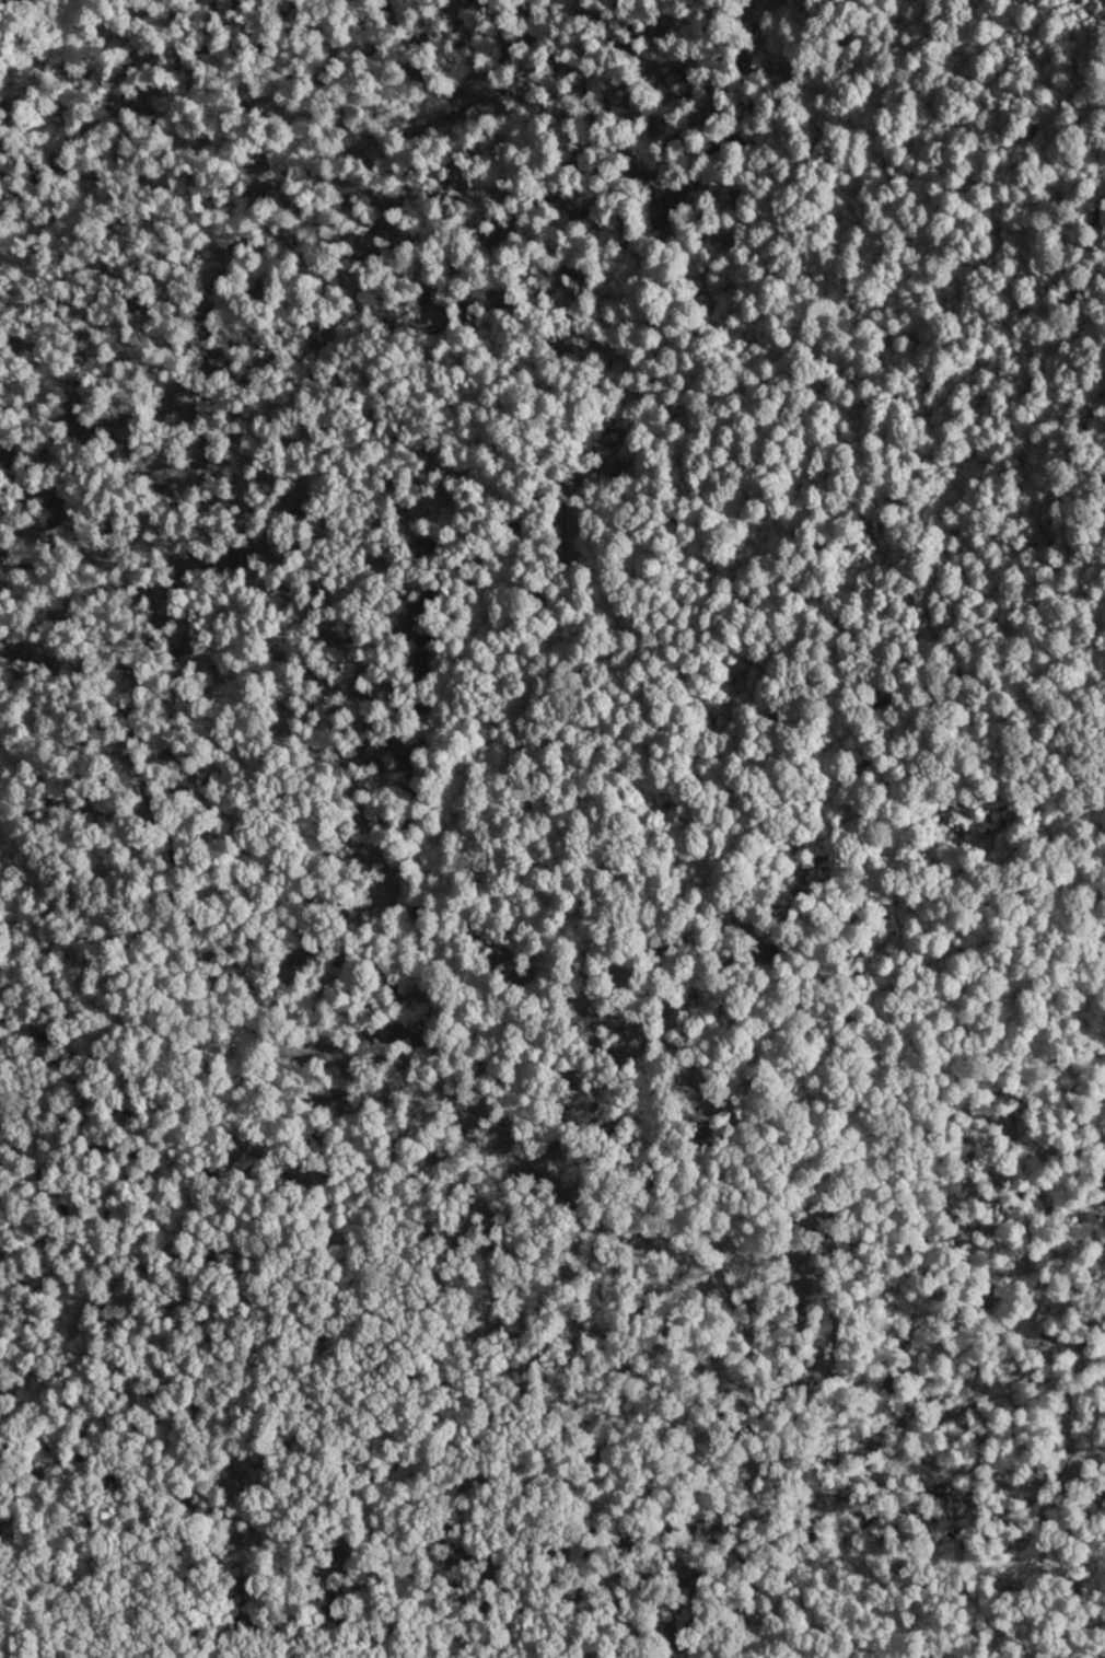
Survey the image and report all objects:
road: (102, 95)
road: (92, 777)
road: (147, 1408)

